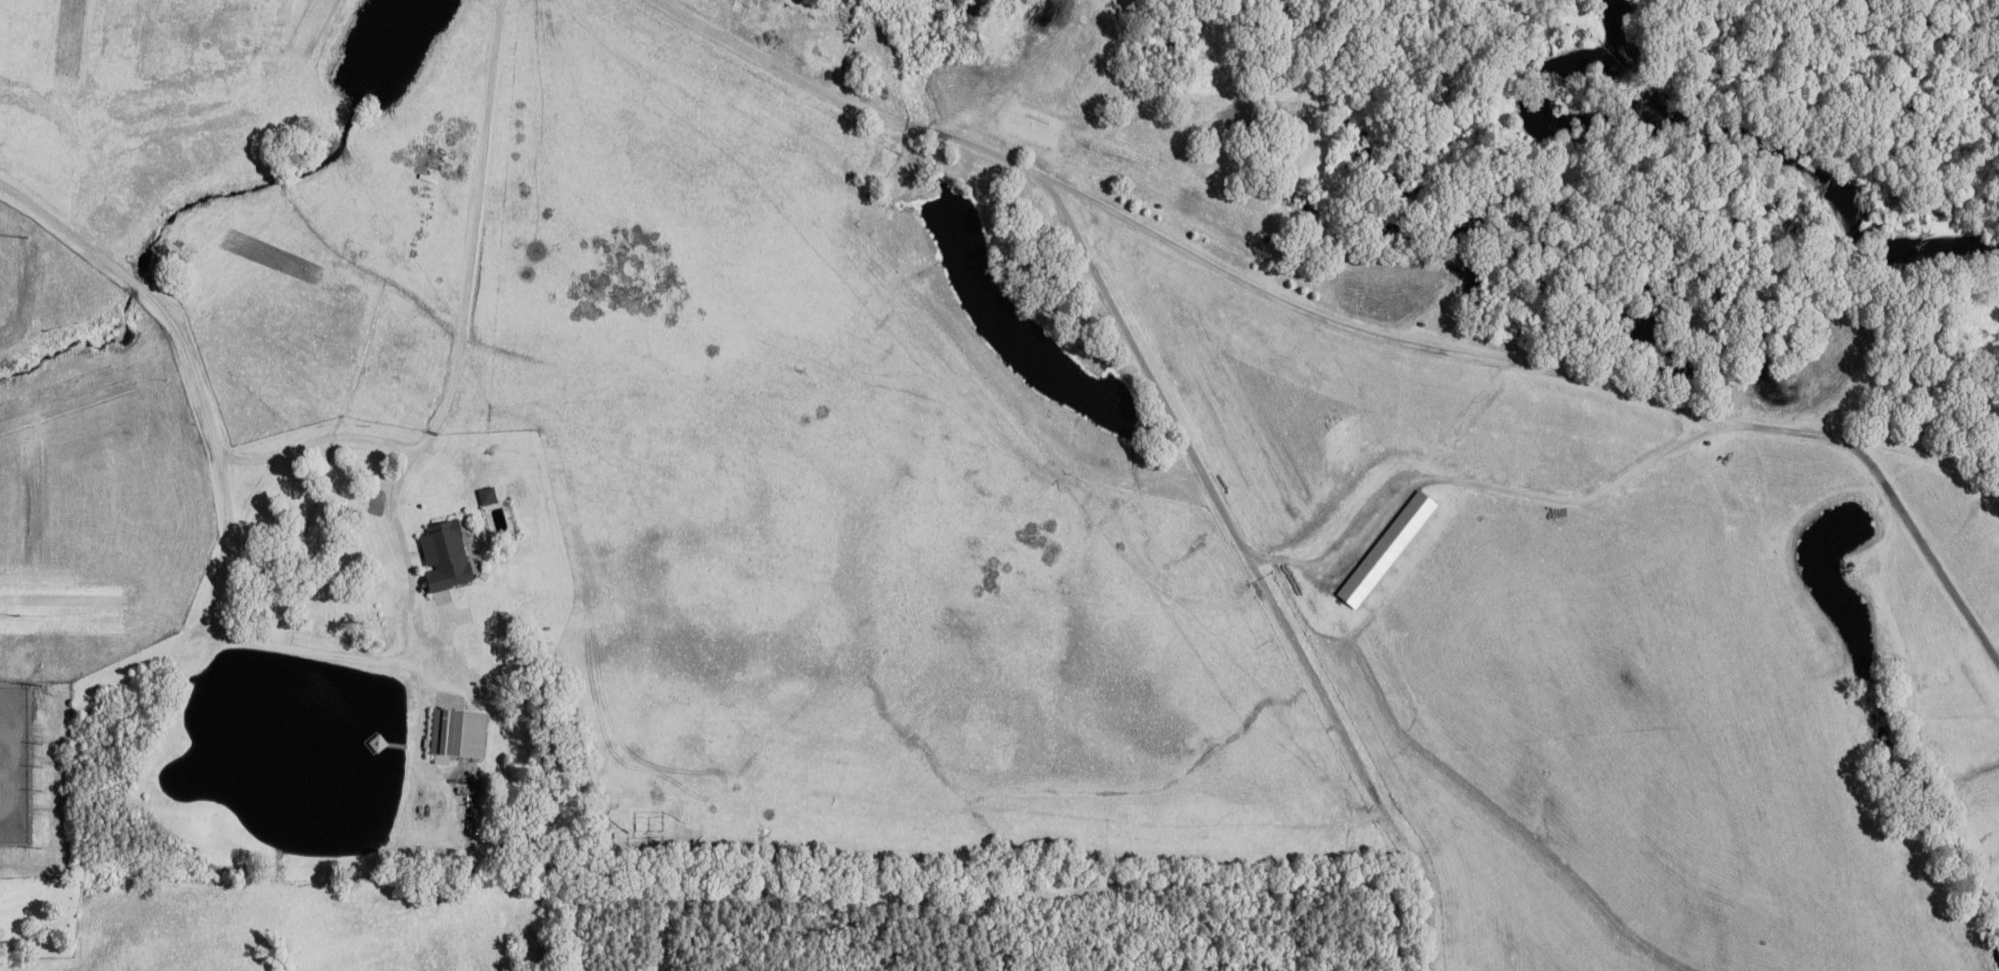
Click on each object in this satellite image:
river: (1694, 130)
road: (1354, 329)
road: (317, 440)
road: (1478, 482)
building: (451, 556)
road: (1254, 568)
road: (382, 659)
building: (459, 736)
power substation: (15, 761)

